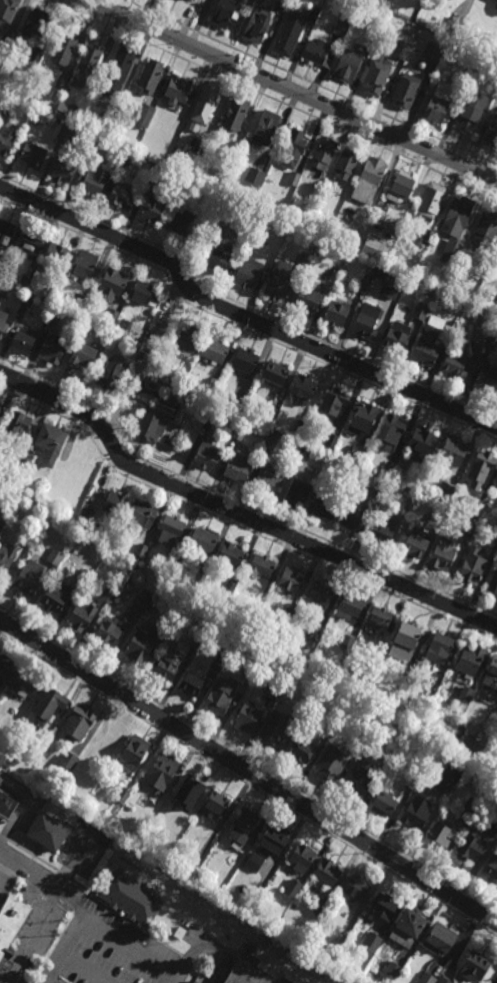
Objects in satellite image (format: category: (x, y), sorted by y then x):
building: (179, 0)
building: (188, 0)
building: (248, 2)
building: (381, 2)
building: (282, 4)
building: (495, 4)
building: (7, 12)
road: (145, 12)
building: (226, 13)
building: (313, 13)
building: (496, 13)
building: (461, 15)
building: (37, 24)
building: (340, 24)
building: (255, 25)
building: (286, 36)
building: (489, 37)
building: (7, 41)
building: (63, 48)
building: (401, 48)
building: (318, 51)
building: (474, 51)
building: (433, 52)
building: (36, 54)
building: (480, 58)
building: (28, 63)
building: (86, 63)
building: (347, 63)
building: (118, 69)
building: (149, 75)
building: (376, 76)
building: (61, 79)
building: (179, 87)
building: (66, 88)
building: (406, 88)
road: (292, 91)
building: (15, 94)
building: (205, 102)
building: (5, 104)
building: (436, 106)
building: (68, 111)
building: (470, 111)
building: (235, 112)
building: (145, 113)
building: (35, 115)
building: (106, 120)
building: (264, 127)
building: (66, 131)
building: (492, 133)
building: (7, 139)
building: (93, 145)
building: (292, 146)
building: (200, 148)
building: (33, 153)
building: (145, 154)
building: (124, 155)
building: (321, 156)
building: (346, 162)
building: (61, 169)
building: (156, 171)
building: (293, 177)
building: (369, 178)
building: (93, 179)
building: (253, 179)
building: (327, 186)
building: (401, 186)
building: (121, 194)
building: (431, 200)
building: (153, 207)
building: (457, 215)
building: (182, 219)
building: (301, 220)
building: (485, 228)
building: (6, 230)
building: (428, 235)
building: (30, 241)
building: (376, 248)
building: (453, 250)
building: (55, 254)
building: (222, 258)
building: (302, 261)
building: (83, 265)
building: (1, 270)
building: (333, 271)
building: (495, 271)
building: (249, 272)
building: (479, 278)
building: (23, 280)
building: (279, 280)
building: (390, 281)
building: (113, 283)
building: (363, 285)
building: (4, 288)
building: (142, 291)
building: (50, 293)
building: (27, 299)
building: (307, 299)
building: (82, 304)
building: (422, 309)
building: (54, 312)
building: (336, 312)
building: (456, 314)
building: (112, 316)
road: (241, 317)
building: (367, 321)
building: (3, 322)
building: (127, 323)
building: (450, 326)
building: (480, 329)
building: (397, 337)
building: (189, 339)
building: (22, 341)
building: (429, 342)
building: (491, 342)
building: (52, 348)
building: (216, 349)
building: (83, 354)
road: (147, 359)
building: (246, 360)
building: (455, 365)
building: (275, 374)
building: (110, 375)
building: (176, 379)
building: (487, 379)
building: (304, 387)
building: (212, 388)
building: (169, 400)
building: (0, 401)
building: (238, 401)
building: (334, 401)
building: (0, 403)
building: (212, 414)
building: (271, 414)
building: (364, 415)
building: (18, 424)
building: (152, 427)
building: (300, 428)
building: (241, 429)
building: (391, 431)
building: (331, 439)
building: (50, 441)
building: (270, 443)
building: (421, 443)
building: (453, 451)
building: (302, 453)
building: (357, 453)
building: (207, 455)
building: (22, 461)
building: (238, 467)
building: (390, 468)
building: (482, 468)
building: (418, 480)
building: (267, 482)
building: (320, 482)
building: (380, 487)
building: (446, 492)
building: (297, 494)
building: (28, 498)
building: (114, 503)
building: (410, 503)
building: (324, 507)
building: (478, 509)
building: (440, 512)
building: (142, 514)
road: (237, 514)
building: (355, 514)
building: (85, 516)
building: (4, 517)
building: (471, 525)
building: (171, 530)
building: (383, 531)
building: (33, 533)
building: (204, 540)
building: (495, 541)
building: (416, 543)
building: (141, 550)
building: (443, 554)
building: (230, 555)
building: (6, 557)
building: (55, 557)
building: (171, 564)
building: (474, 565)
building: (261, 566)
building: (201, 575)
building: (84, 576)
building: (120, 578)
building: (28, 580)
building: (292, 580)
building: (493, 584)
building: (230, 588)
building: (321, 592)
building: (56, 595)
building: (109, 595)
building: (142, 601)
building: (351, 604)
building: (255, 612)
building: (381, 613)
building: (82, 614)
building: (290, 614)
building: (173, 615)
building: (107, 632)
building: (407, 636)
building: (197, 639)
building: (311, 639)
building: (385, 640)
building: (348, 642)
building: (140, 644)
building: (441, 645)
building: (223, 655)
building: (471, 659)
building: (5, 664)
building: (167, 664)
building: (251, 669)
building: (491, 674)
building: (192, 678)
building: (24, 683)
building: (275, 689)
building: (222, 692)
building: (466, 695)
building: (49, 702)
building: (300, 713)
building: (248, 715)
building: (78, 721)
building: (330, 728)
building: (275, 729)
building: (460, 731)
building: (358, 744)
building: (471, 747)
building: (302, 749)
building: (134, 751)
building: (68, 761)
building: (331, 763)
building: (383, 766)
building: (161, 768)
road: (248, 771)
building: (360, 782)
building: (443, 789)
building: (188, 792)
building: (123, 795)
building: (217, 802)
building: (384, 802)
building: (6, 805)
building: (470, 807)
building: (414, 814)
building: (247, 821)
building: (495, 822)
building: (47, 830)
building: (441, 833)
building: (269, 845)
building: (471, 847)
building: (302, 857)
building: (492, 867)
building: (328, 872)
building: (188, 873)
road: (38, 877)
building: (293, 888)
building: (357, 888)
building: (130, 899)
building: (320, 906)
building: (385, 907)
building: (11, 923)
building: (409, 926)
road: (67, 938)
building: (440, 938)
building: (373, 940)
road: (129, 948)
building: (328, 953)
building: (475, 966)
building: (251, 969)
building: (393, 971)
building: (433, 979)
road: (46, 981)
building: (196, 982)

